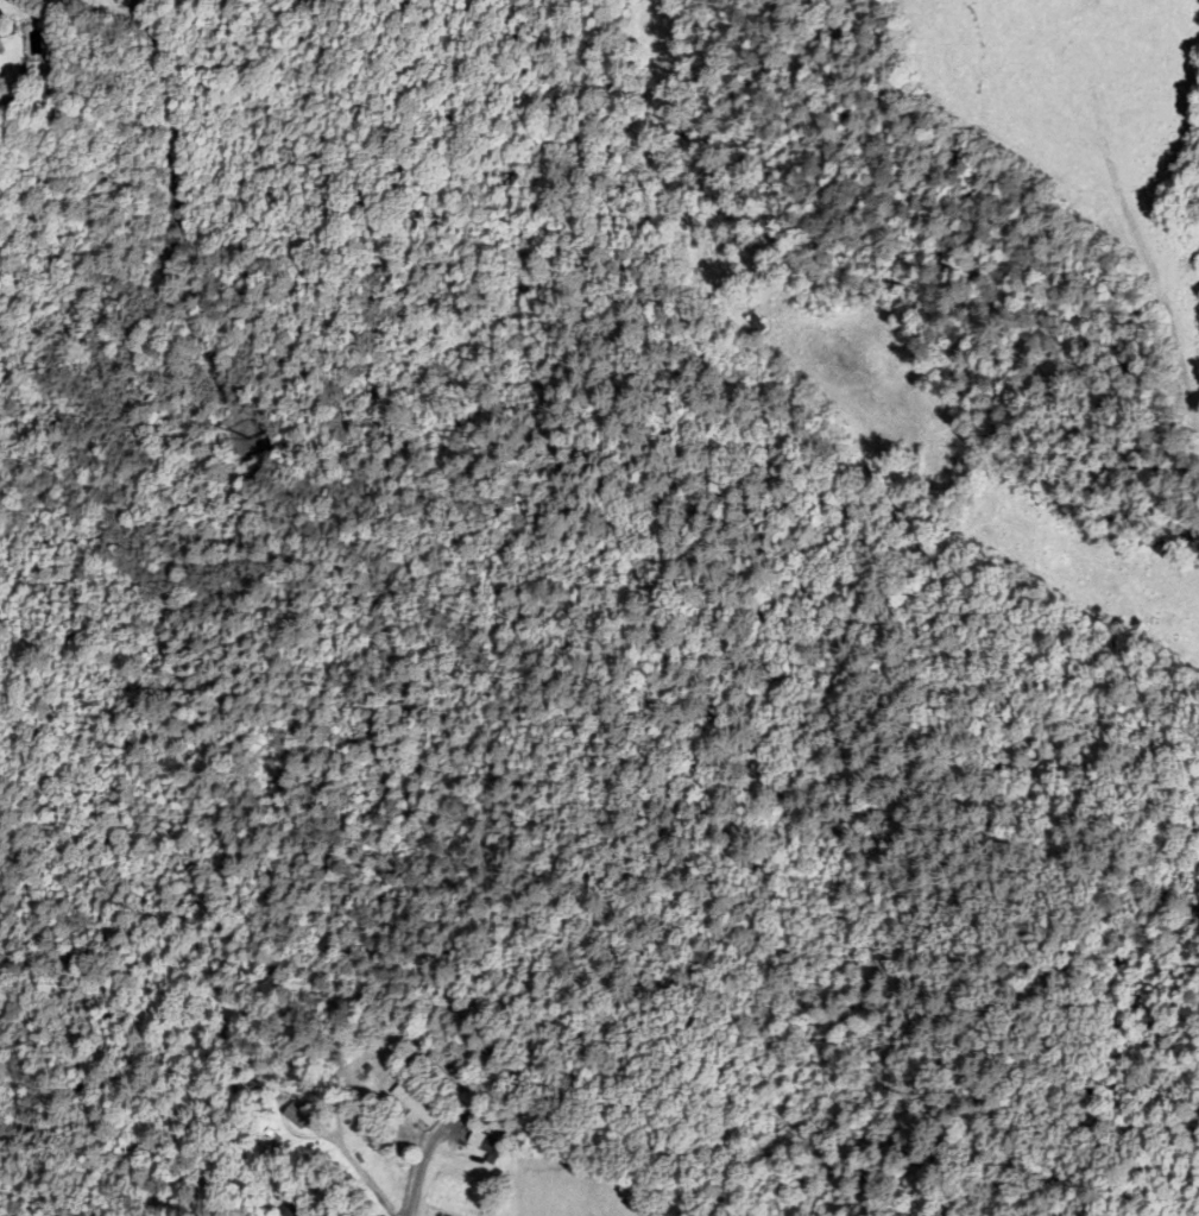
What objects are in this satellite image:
building: (753, 325)
building: (412, 1107)
building: (484, 1143)
road: (415, 1167)
building: (285, 1211)

